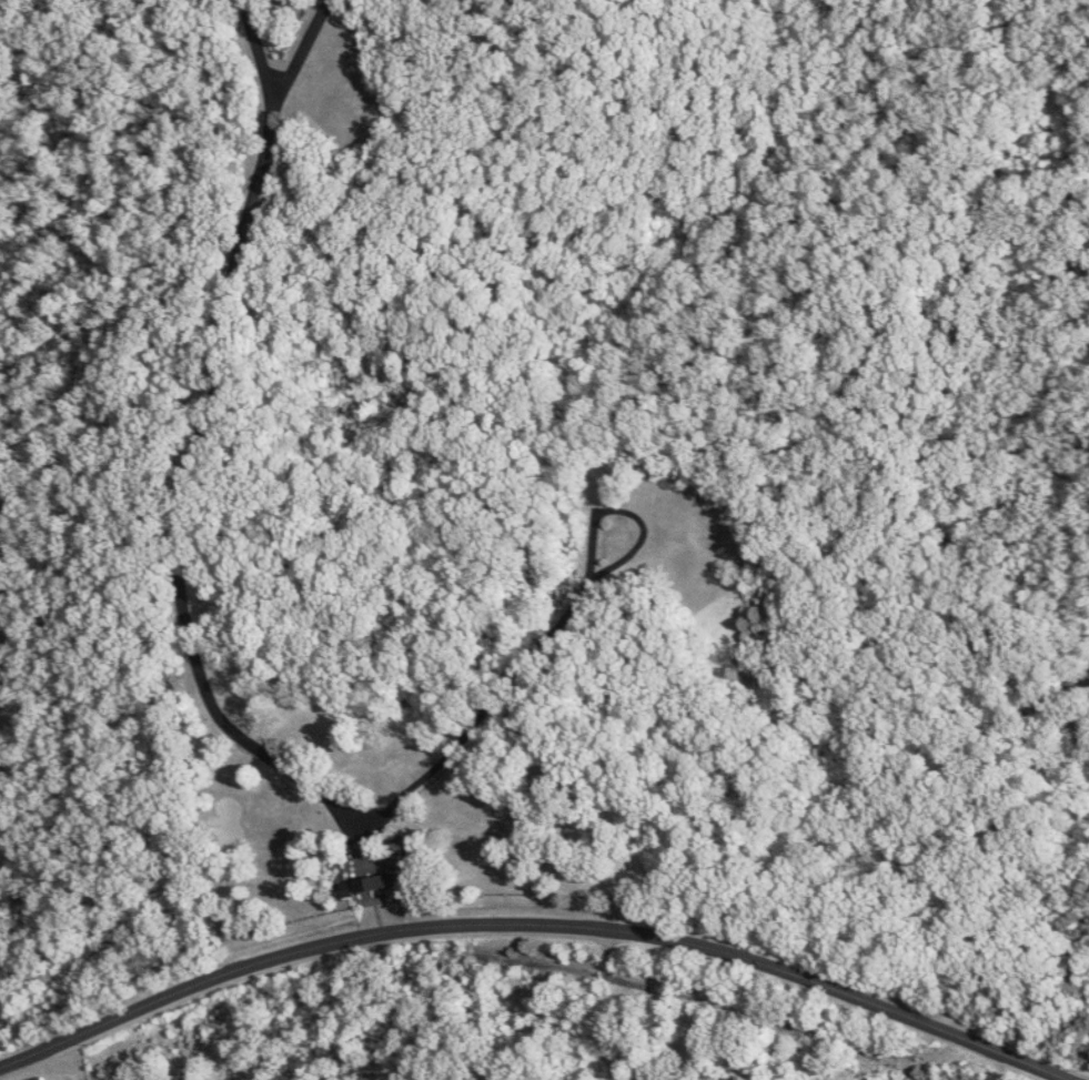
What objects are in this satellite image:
building: (374, 874)
road: (537, 921)
building: (41, 1078)

